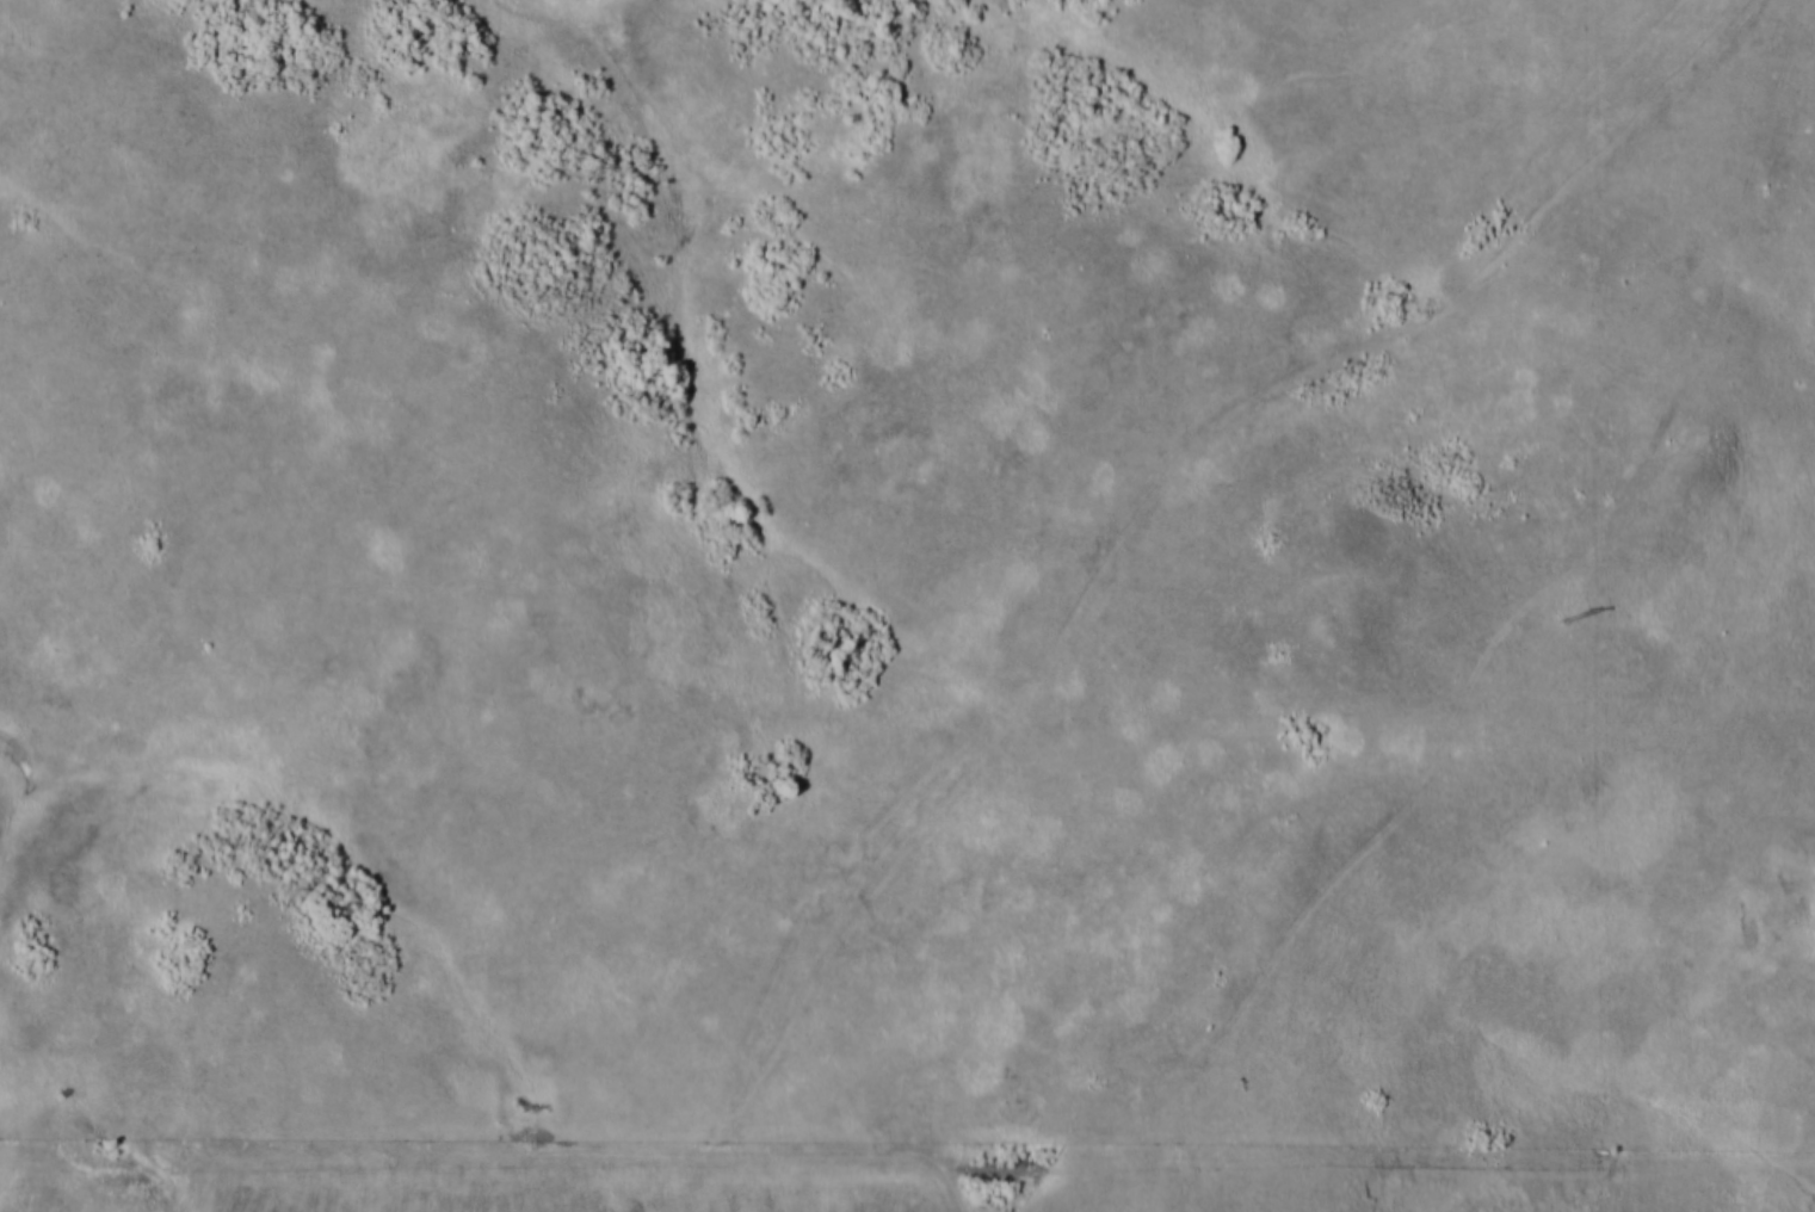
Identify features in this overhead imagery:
power tower: (1572, 622)

